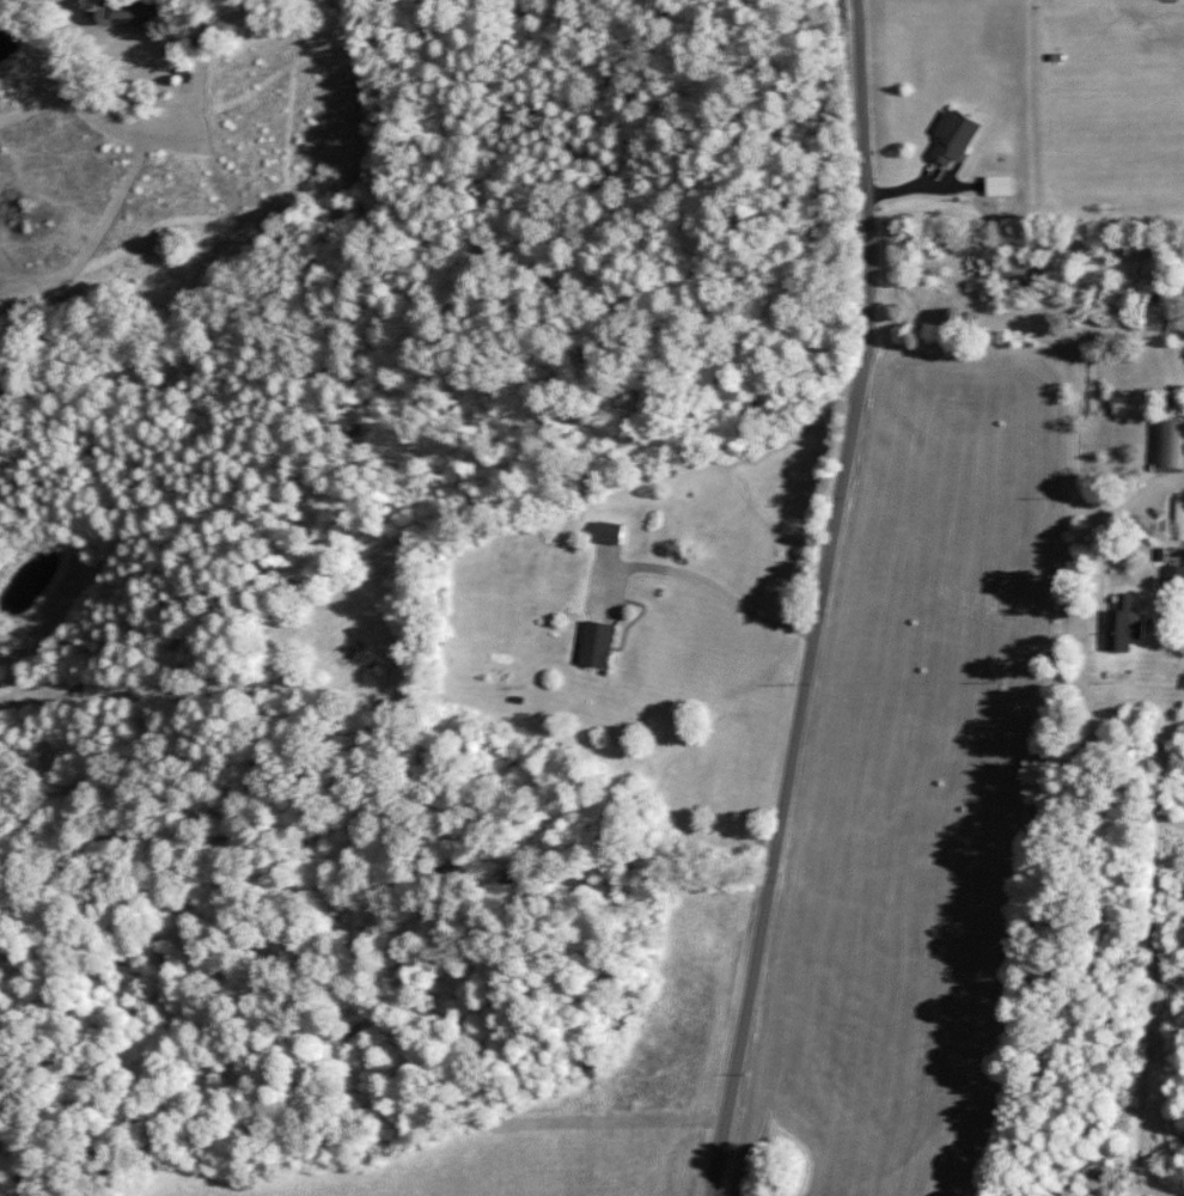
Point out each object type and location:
building: (120, 10)
road: (268, 26)
building: (950, 136)
road: (1093, 334)
building: (1167, 443)
building: (605, 531)
building: (1172, 579)
road: (819, 600)
building: (1119, 624)
building: (340, 640)
building: (592, 643)

